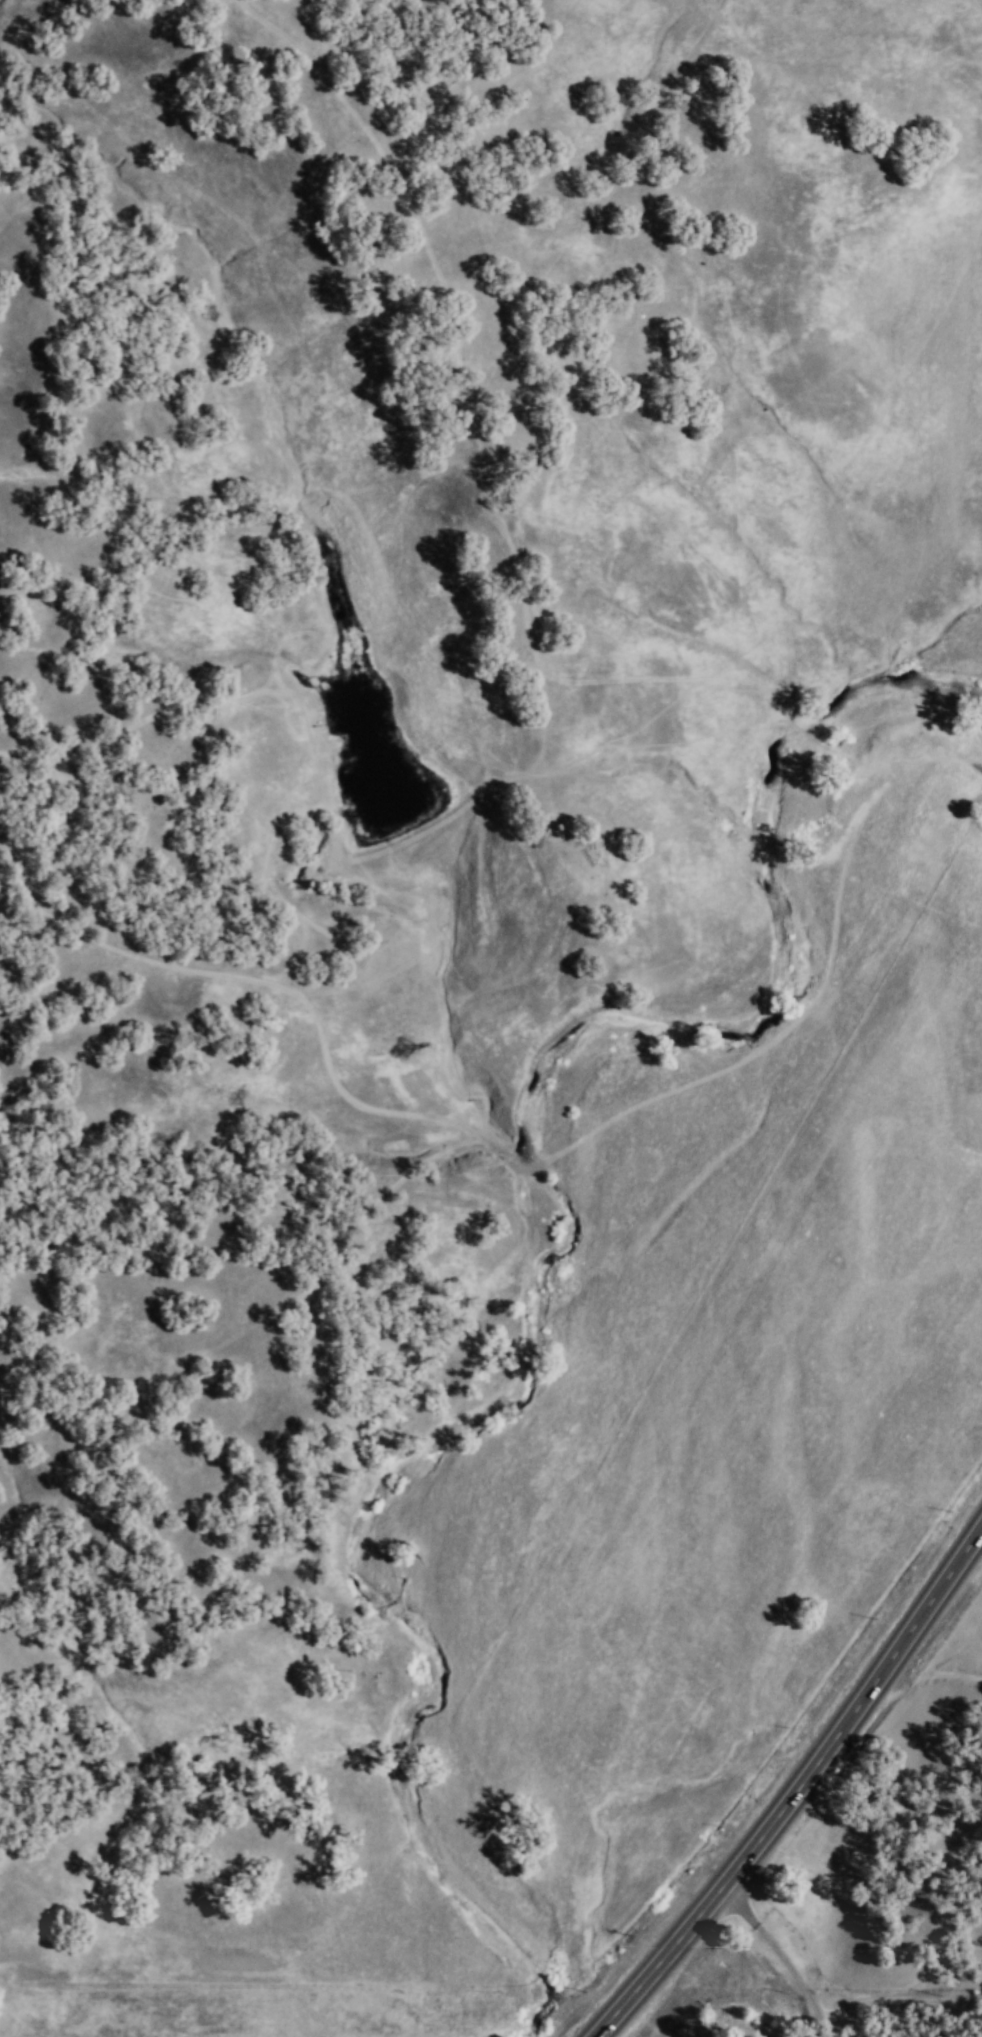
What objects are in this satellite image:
road: (443, 306)
road: (543, 1160)
road: (796, 1787)
road: (781, 1955)

